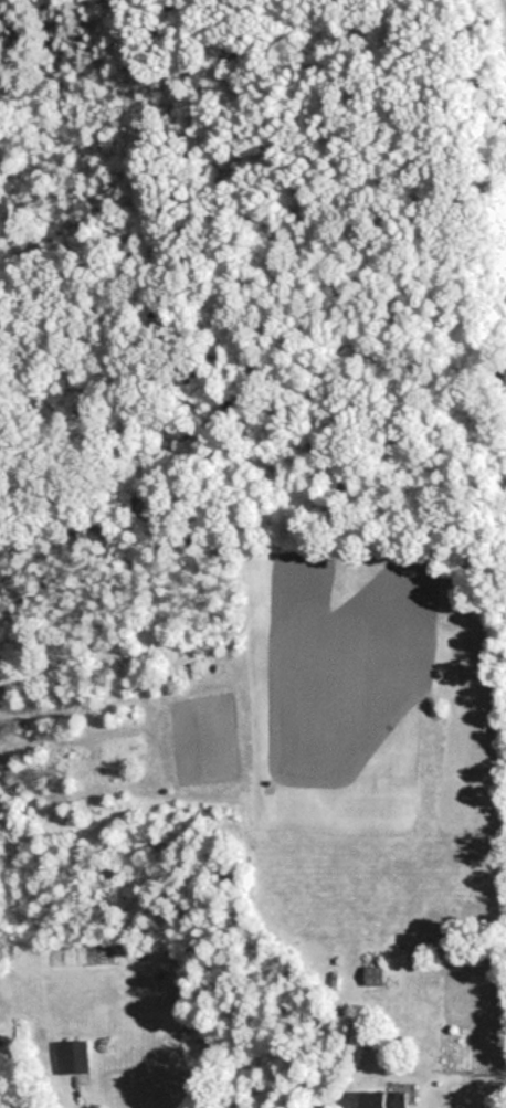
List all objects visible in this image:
building: (377, 975)
building: (72, 1056)
building: (388, 1099)

